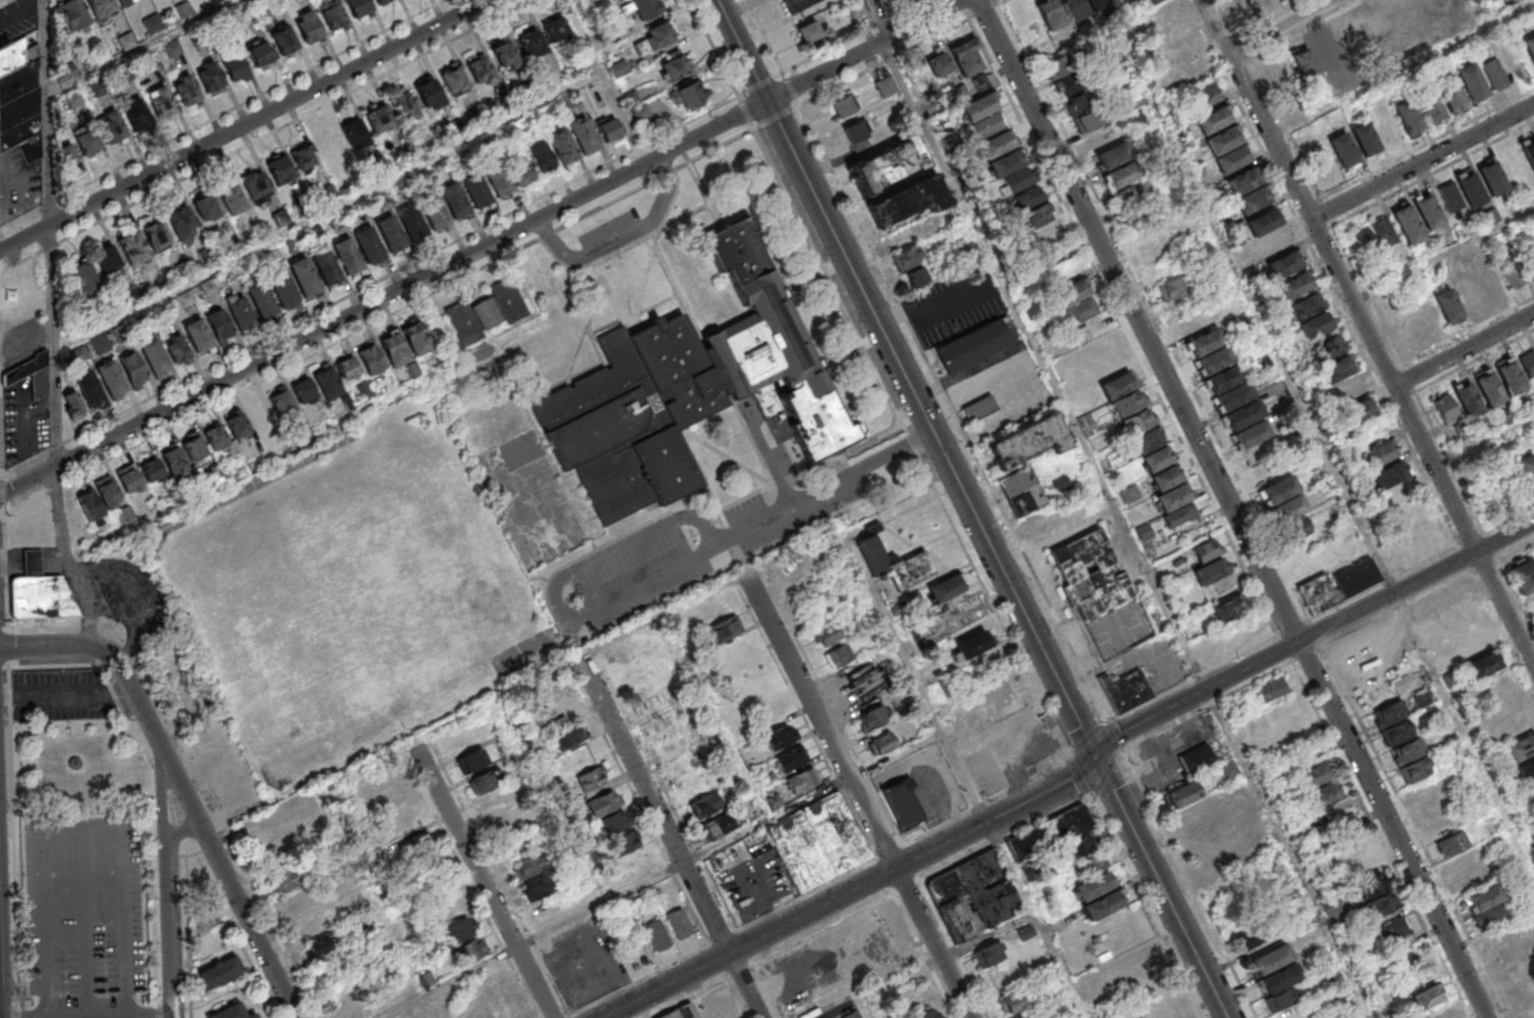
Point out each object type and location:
building: (1113, 0)
building: (885, 1)
building: (125, 2)
building: (216, 2)
road: (7, 3)
building: (384, 3)
building: (1096, 4)
building: (1258, 4)
building: (800, 6)
building: (1437, 6)
building: (100, 8)
building: (358, 9)
building: (857, 9)
building: (1074, 9)
building: (646, 10)
building: (185, 11)
building: (1413, 12)
building: (1050, 14)
building: (73, 15)
road: (882, 18)
building: (334, 20)
building: (1391, 20)
building: (153, 25)
road: (1220, 26)
road: (1284, 26)
building: (309, 31)
building: (557, 31)
building: (1369, 31)
building: (810, 35)
road: (856, 36)
road: (766, 37)
building: (198, 38)
building: (285, 40)
building: (654, 40)
building: (1347, 41)
building: (128, 43)
building: (531, 43)
road: (715, 48)
building: (1530, 49)
road: (144, 50)
building: (174, 50)
road: (743, 50)
road: (867, 50)
building: (1326, 53)
building: (259, 54)
building: (505, 54)
building: (967, 57)
building: (149, 64)
building: (939, 65)
building: (235, 69)
building: (1305, 69)
building: (480, 70)
road: (1405, 70)
building: (620, 71)
building: (676, 71)
building: (1068, 72)
building: (1495, 74)
building: (124, 77)
road: (607, 80)
building: (210, 81)
building: (455, 82)
road: (762, 85)
building: (1473, 86)
building: (886, 87)
building: (100, 90)
road: (792, 90)
building: (187, 94)
building: (429, 94)
building: (1207, 95)
building: (689, 97)
building: (1451, 97)
building: (20, 101)
building: (631, 101)
building: (75, 102)
building: (573, 102)
building: (505, 104)
building: (162, 106)
building: (980, 106)
building: (404, 107)
building: (844, 107)
building: (1430, 110)
building: (1086, 111)
building: (553, 112)
road: (748, 113)
building: (642, 114)
road: (223, 115)
building: (480, 116)
building: (137, 118)
road: (778, 118)
building: (378, 119)
building: (1409, 120)
building: (1213, 123)
building: (989, 124)
road: (247, 126)
building: (457, 129)
building: (113, 131)
building: (610, 131)
building: (854, 134)
building: (354, 135)
road: (266, 137)
building: (584, 139)
building: (86, 141)
building: (997, 143)
building: (1366, 143)
building: (1223, 145)
building: (1107, 148)
building: (563, 151)
building: (1344, 153)
building: (540, 156)
building: (1529, 156)
building: (466, 158)
road: (653, 158)
building: (303, 160)
building: (1232, 162)
road: (1425, 162)
building: (886, 165)
building: (522, 173)
building: (280, 175)
building: (1119, 176)
building: (499, 182)
building: (1494, 182)
building: (1243, 185)
building: (255, 187)
building: (1472, 193)
building: (478, 195)
building: (1127, 196)
building: (1450, 197)
building: (906, 201)
building: (233, 204)
building: (1253, 204)
building: (456, 206)
building: (305, 207)
road: (823, 211)
building: (206, 212)
road: (329, 212)
building: (1429, 215)
building: (435, 217)
building: (282, 220)
building: (338, 222)
building: (182, 224)
building: (1044, 225)
building: (1263, 226)
building: (413, 228)
building: (1409, 229)
road: (51, 231)
building: (1383, 232)
road: (621, 238)
building: (156, 239)
building: (392, 239)
building: (1364, 240)
building: (1274, 246)
building: (233, 248)
building: (370, 250)
building: (134, 253)
road: (1446, 257)
building: (107, 259)
building: (348, 261)
building: (911, 266)
building: (1285, 267)
building: (184, 270)
road: (402, 270)
building: (327, 272)
building: (1513, 274)
building: (83, 277)
building: (231, 279)
building: (305, 282)
building: (1490, 283)
building: (1171, 288)
building: (209, 289)
building: (1296, 289)
building: (284, 294)
building: (1469, 294)
building: (1076, 296)
building: (187, 300)
building: (262, 305)
building: (1447, 305)
road: (1255, 310)
building: (486, 312)
building: (1306, 312)
building: (1084, 313)
building: (242, 320)
road: (380, 322)
building: (220, 330)
building: (1315, 330)
building: (120, 335)
building: (199, 341)
road: (298, 341)
building: (418, 342)
building: (101, 345)
building: (1206, 346)
road: (1466, 349)
building: (177, 350)
building: (974, 350)
building: (396, 354)
building: (1326, 354)
building: (78, 355)
road: (1384, 356)
building: (155, 362)
building: (372, 362)
building: (1528, 362)
road: (1044, 364)
building: (1215, 364)
building: (133, 370)
building: (35, 374)
building: (1337, 375)
building: (1509, 376)
building: (111, 384)
building: (1119, 384)
building: (1225, 384)
building: (329, 387)
building: (1488, 387)
building: (303, 392)
building: (365, 392)
building: (90, 394)
building: (689, 394)
building: (1348, 395)
building: (1467, 398)
building: (1235, 401)
building: (282, 402)
building: (72, 404)
road: (2, 405)
building: (1130, 407)
building: (1445, 407)
building: (981, 411)
road: (955, 413)
building: (258, 414)
building: (1358, 416)
building: (1244, 420)
building: (1139, 426)
building: (226, 433)
road: (912, 440)
building: (1252, 440)
road: (1486, 441)
building: (1148, 445)
building: (1029, 446)
building: (1379, 458)
building: (1158, 463)
building: (163, 466)
building: (1527, 469)
road: (29, 479)
building: (1389, 479)
building: (1167, 482)
building: (1024, 492)
building: (1130, 494)
building: (1281, 494)
road: (5, 496)
building: (101, 499)
building: (1174, 502)
road: (1230, 509)
building: (1289, 513)
road: (2, 515)
building: (1294, 529)
road: (1506, 536)
building: (1205, 549)
road: (67, 556)
building: (894, 565)
building: (33, 567)
building: (1211, 571)
building: (1522, 574)
road: (7, 575)
building: (1091, 579)
road: (655, 583)
building: (1337, 585)
building: (948, 591)
building: (42, 602)
building: (1229, 608)
building: (900, 610)
building: (1462, 624)
building: (725, 629)
park: (1122, 632)
road: (1528, 633)
building: (828, 636)
building: (970, 645)
building: (1474, 645)
road: (11, 648)
building: (629, 652)
road: (110, 654)
building: (839, 657)
road: (86, 665)
building: (1482, 665)
road: (1050, 670)
building: (869, 674)
building: (639, 678)
road: (1192, 678)
building: (1272, 689)
building: (1124, 691)
building: (650, 696)
parking lot: (63, 697)
building: (1421, 698)
road: (1205, 704)
building: (559, 710)
building: (1388, 713)
building: (771, 715)
building: (665, 718)
building: (870, 720)
road: (819, 722)
building: (1513, 728)
building: (1397, 732)
road: (1464, 734)
road: (1115, 735)
building: (781, 737)
road: (1087, 737)
building: (568, 738)
building: (883, 744)
park: (75, 745)
building: (1521, 747)
building: (1407, 751)
road: (953, 755)
traffic signals: (1093, 756)
building: (1196, 758)
building: (791, 759)
building: (472, 761)
road: (1072, 764)
building: (1416, 769)
building: (1229, 770)
building: (1526, 772)
road: (1107, 774)
building: (1313, 775)
building: (592, 779)
building: (485, 781)
building: (803, 782)
road: (1083, 786)
building: (1531, 791)
road: (1045, 792)
building: (1182, 793)
building: (1325, 793)
building: (901, 801)
road: (986, 802)
building: (774, 803)
building: (604, 804)
building: (706, 806)
building: (1336, 811)
building: (501, 814)
building: (404, 822)
building: (615, 822)
road: (86, 826)
building: (717, 828)
building: (1054, 836)
road: (669, 837)
road: (1003, 838)
road: (14, 839)
road: (1380, 839)
building: (817, 842)
building: (626, 844)
building: (1452, 844)
building: (422, 846)
road: (888, 852)
road: (1288, 852)
building: (527, 866)
road: (661, 874)
building: (1092, 876)
building: (287, 880)
road: (484, 883)
road: (1189, 883)
building: (1372, 884)
road: (168, 885)
road: (230, 885)
building: (538, 888)
road: (906, 888)
building: (974, 894)
road: (805, 895)
building: (1483, 897)
building: (299, 901)
building: (1382, 903)
building: (1104, 904)
parking lot: (87, 907)
road: (1143, 907)
road: (157, 915)
building: (1491, 916)
building: (679, 924)
building: (310, 926)
building: (1392, 929)
building: (463, 930)
road: (822, 931)
building: (1253, 933)
building: (657, 935)
road: (934, 943)
building: (319, 949)
road: (953, 950)
building: (471, 951)
building: (988, 954)
road: (923, 956)
building: (1405, 957)
building: (1270, 959)
road: (931, 965)
building: (220, 973)
road: (0, 987)
road: (1073, 996)
building: (1427, 997)
building: (1011, 1004)
road: (862, 1010)
building: (231, 1012)
building: (681, 1012)
building: (927, 1013)
road: (86, 1015)
building: (853, 1015)

